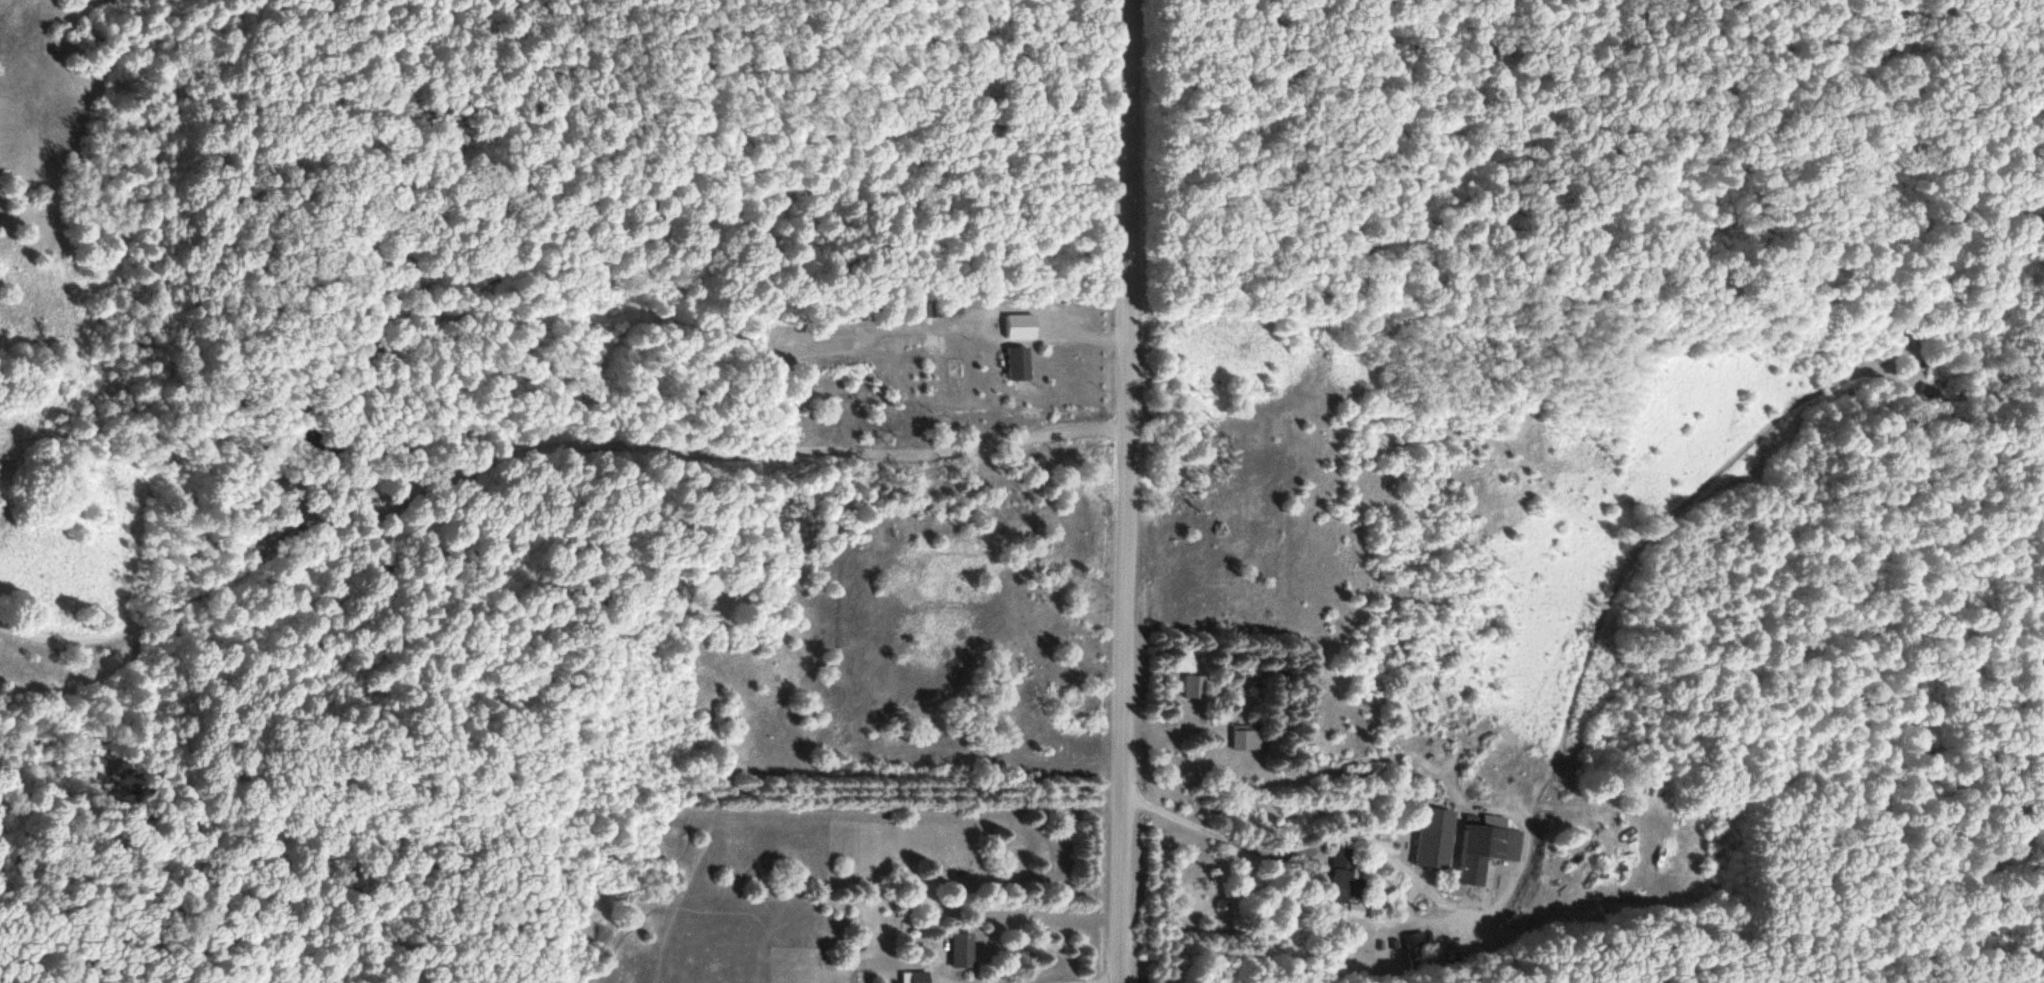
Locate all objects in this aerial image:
building: (933, 309)
building: (1013, 364)
road: (540, 445)
road: (1122, 490)
building: (1193, 694)
building: (1247, 737)
building: (1432, 838)
building: (1484, 849)
road: (1311, 855)
building: (1341, 877)
building: (960, 950)
building: (1417, 950)
building: (918, 977)

